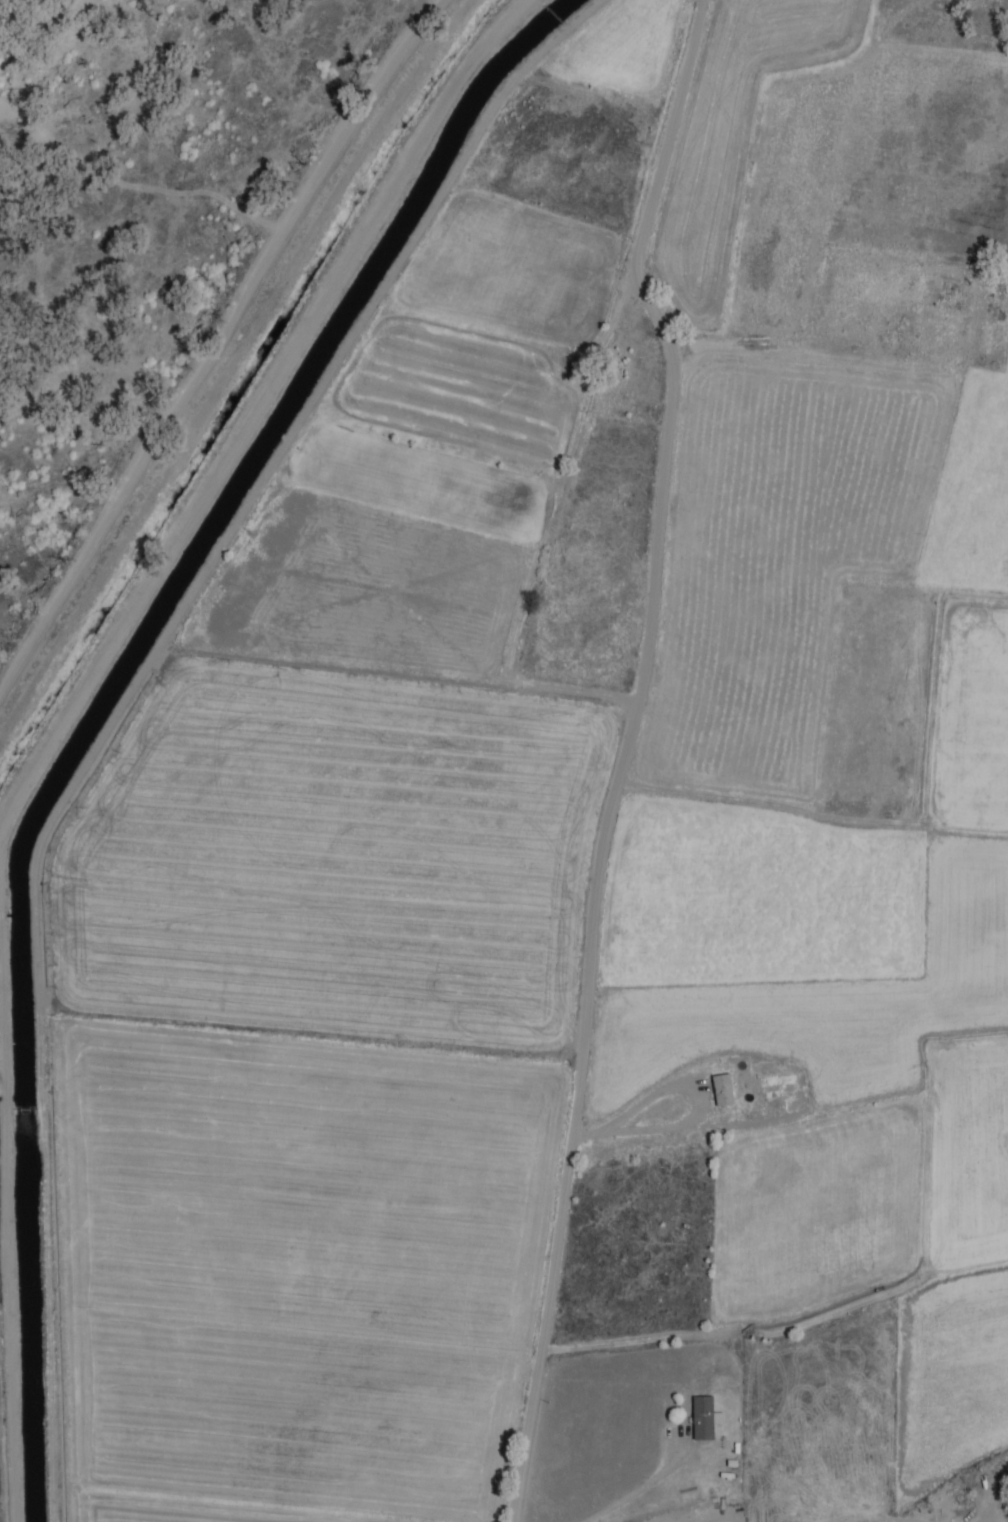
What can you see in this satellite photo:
road: (627, 755)
building: (727, 1090)
building: (709, 1417)

